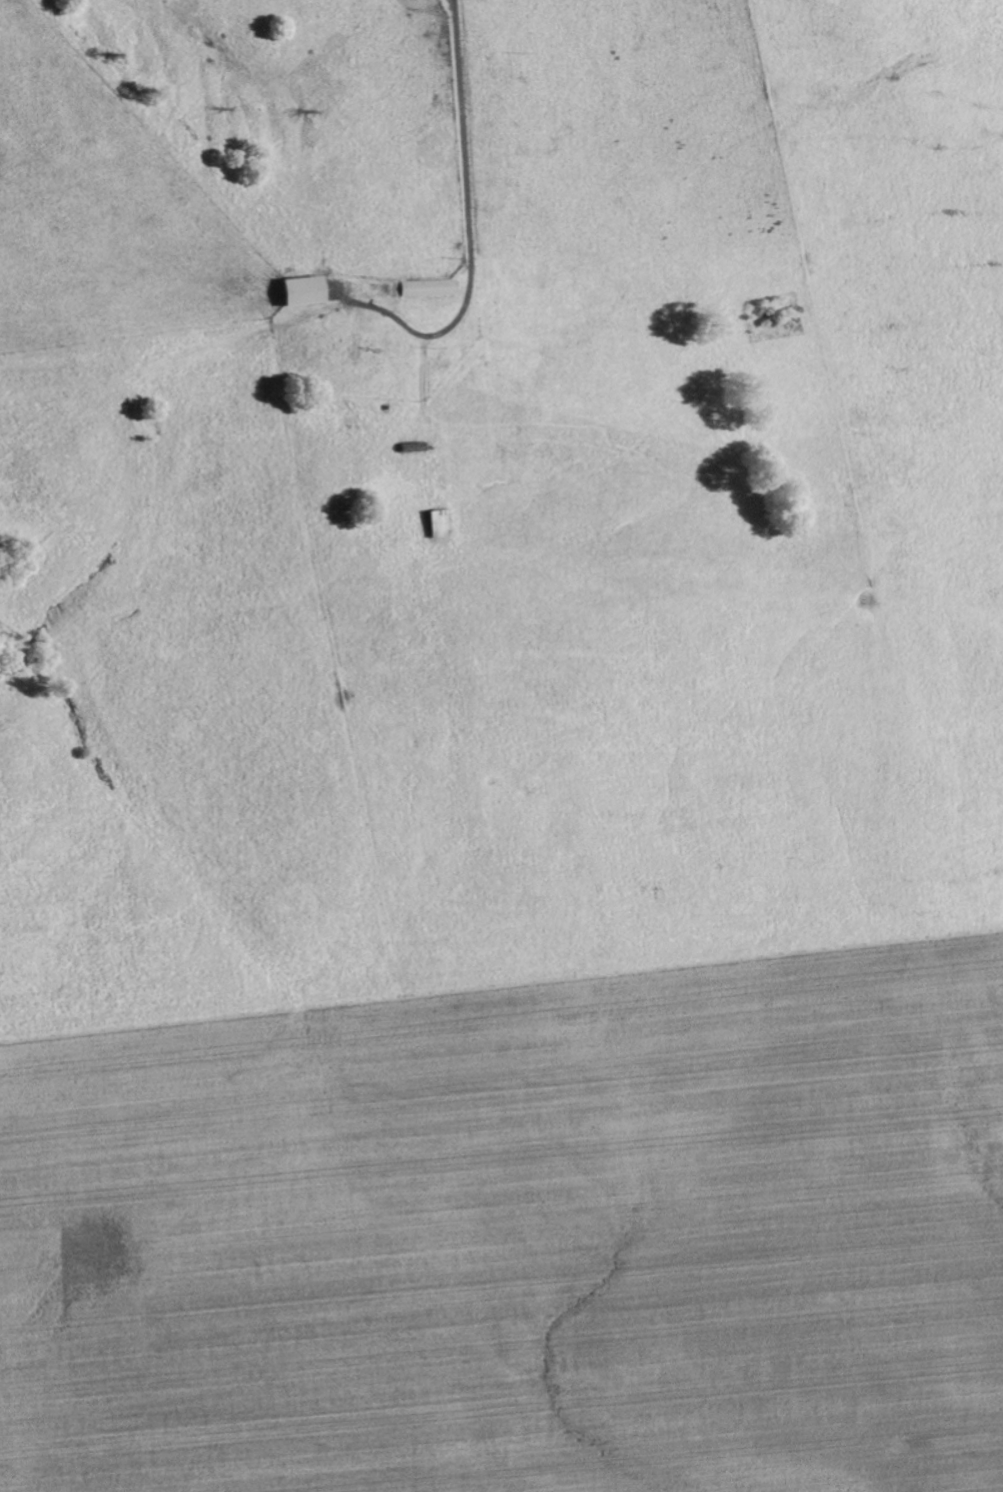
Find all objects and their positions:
building: (424, 288)
building: (300, 292)

